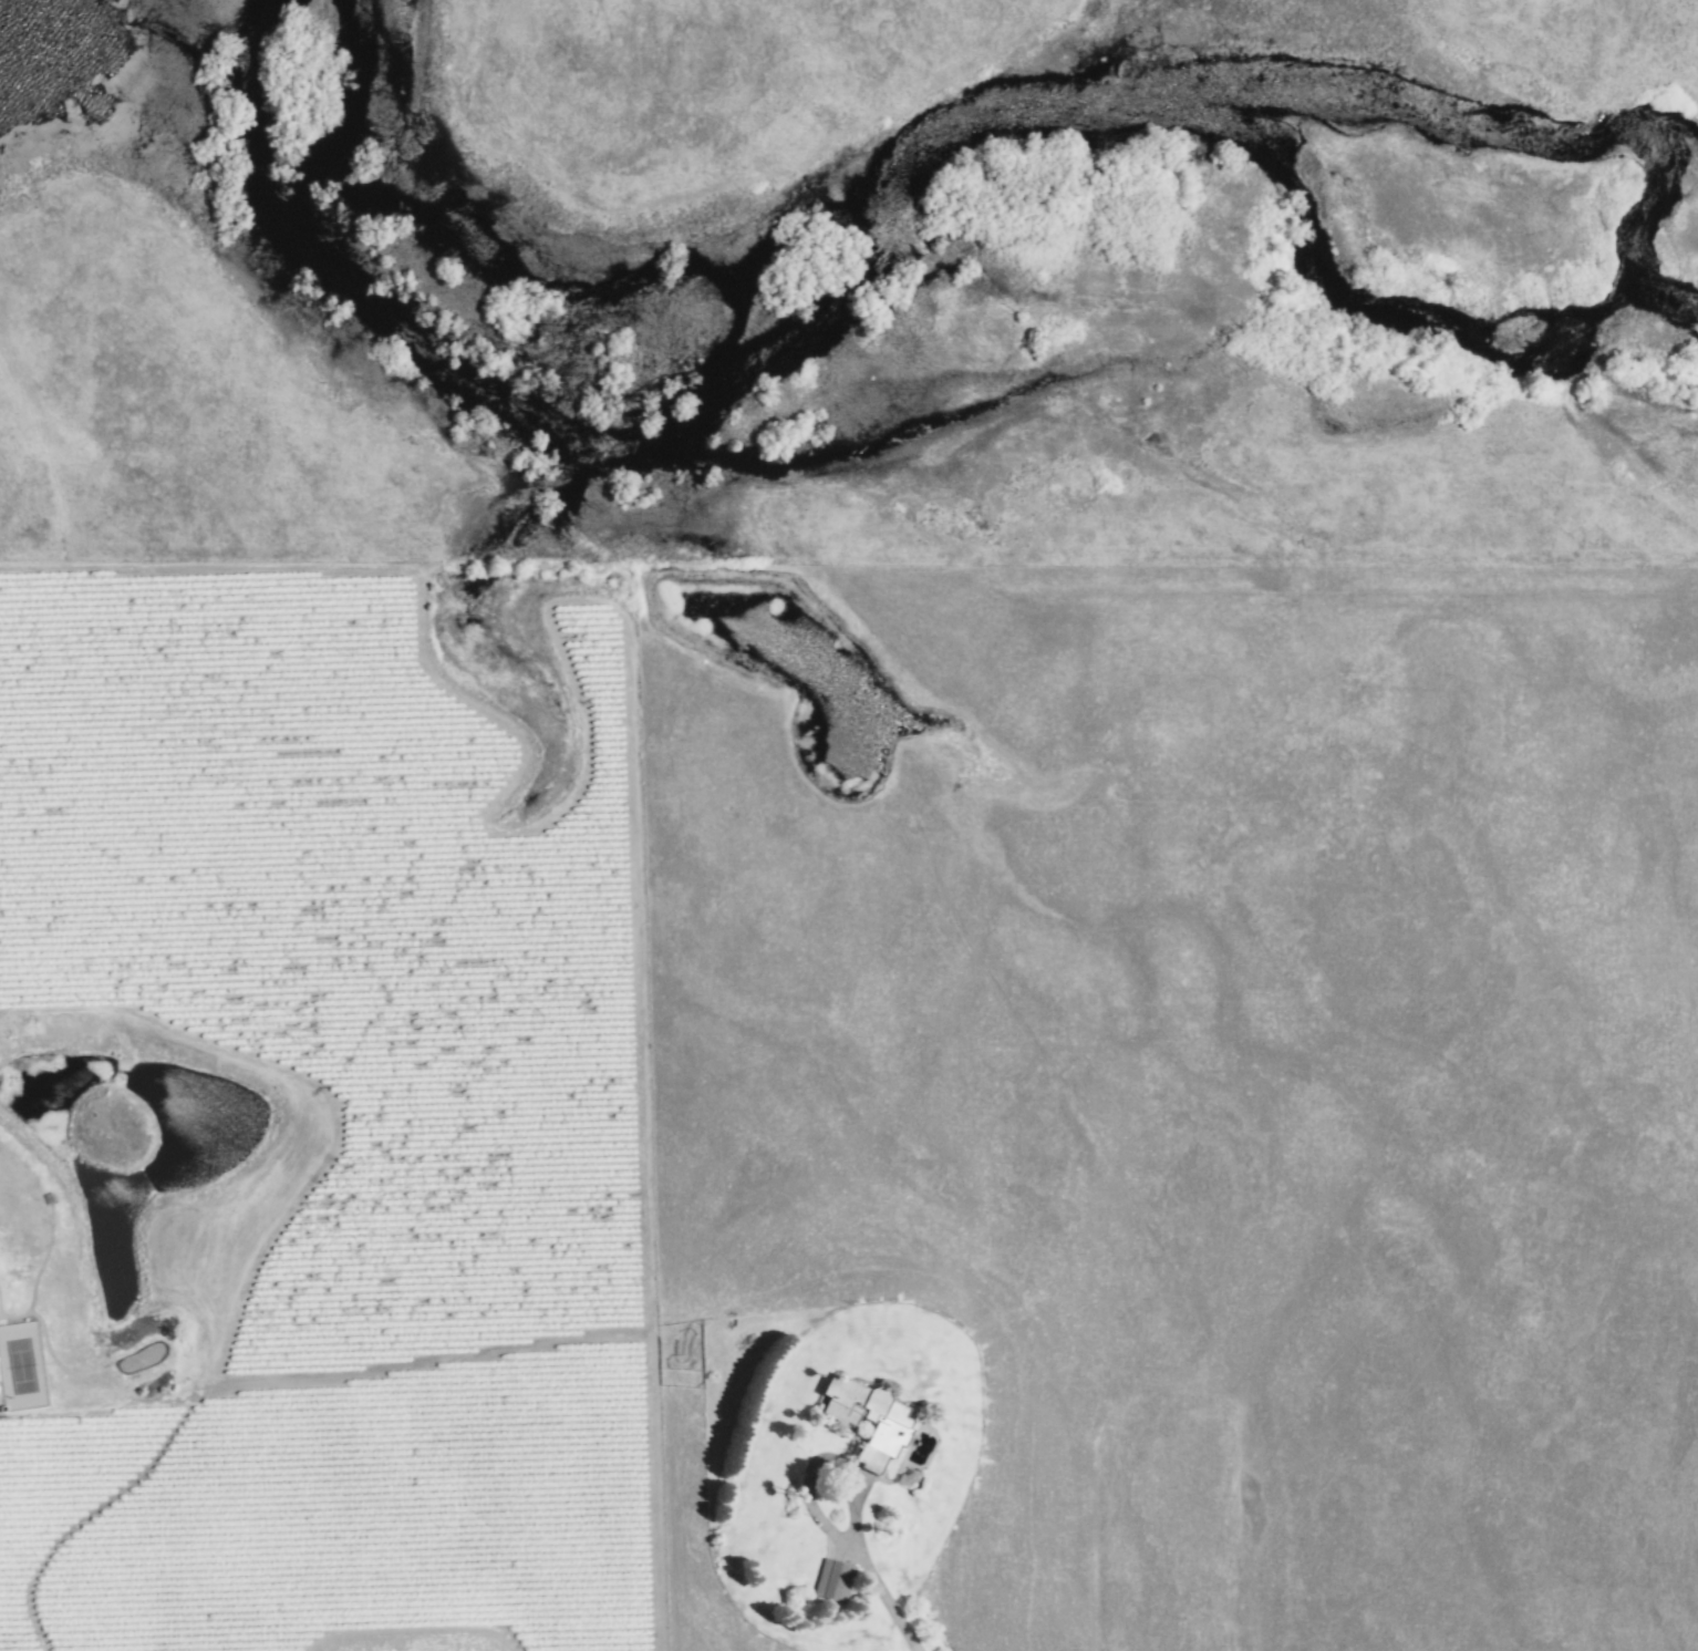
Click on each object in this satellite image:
crop: (341, 1124)
building: (860, 1418)
road: (869, 1571)
building: (831, 1580)

